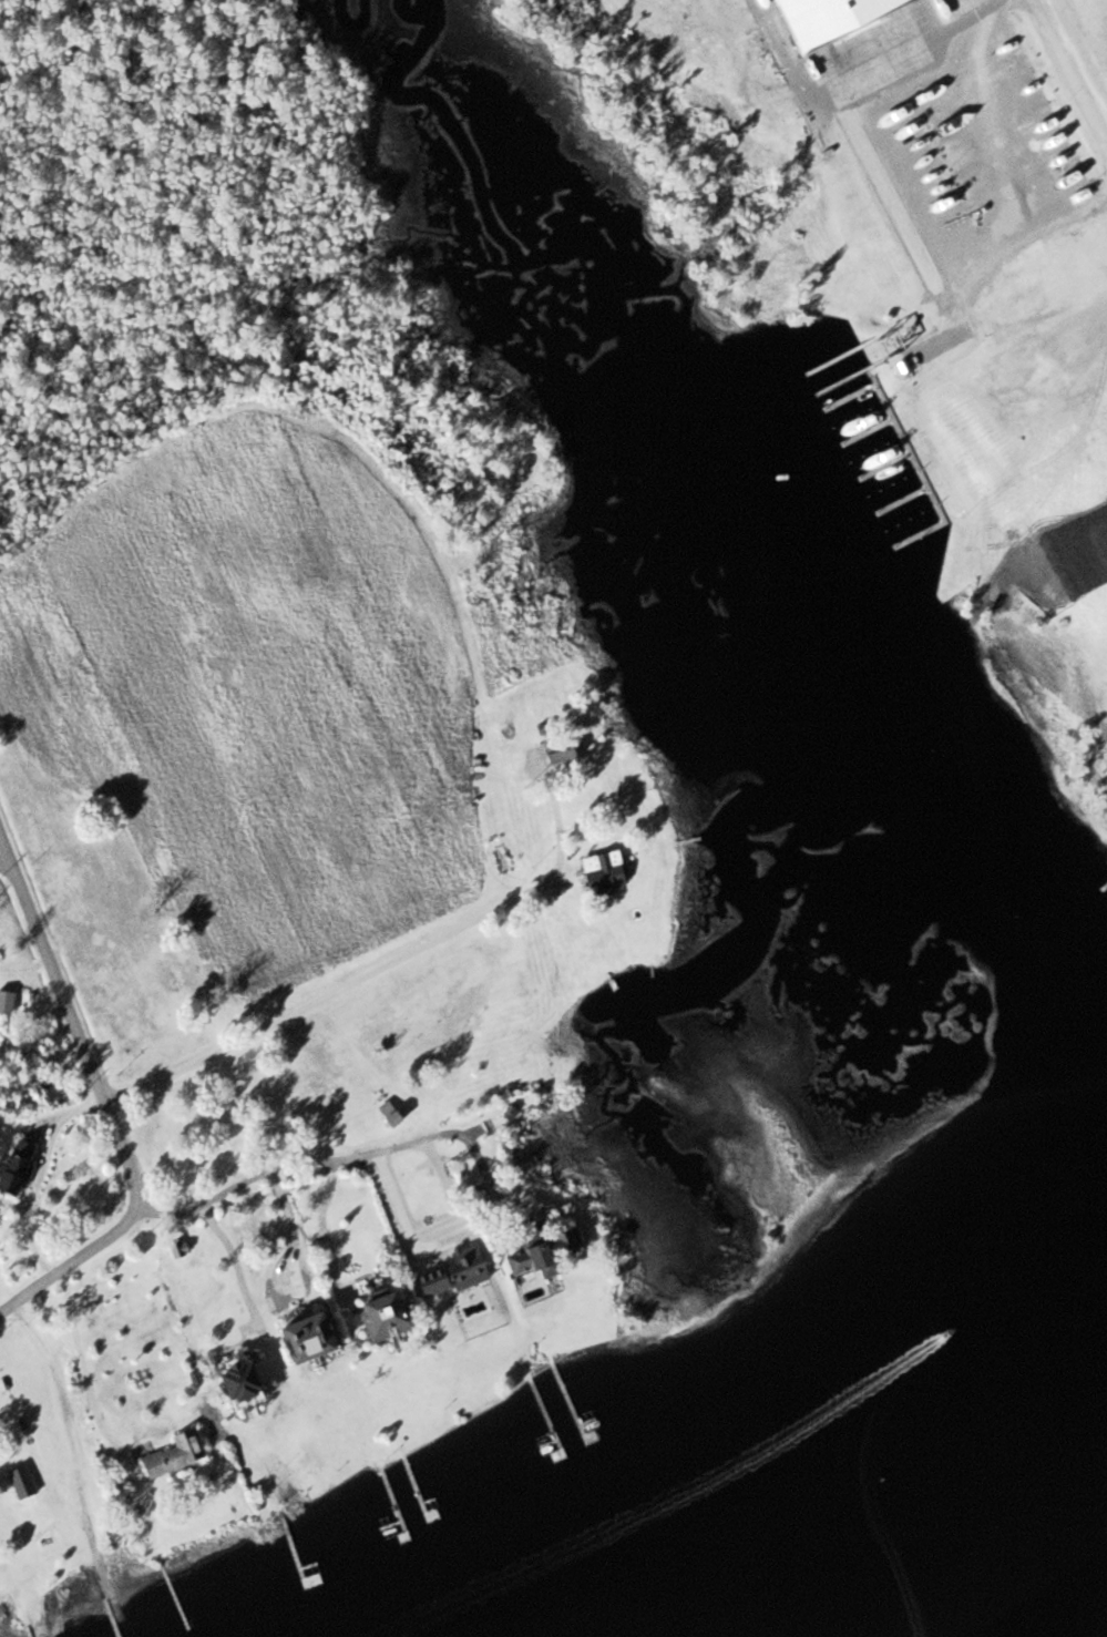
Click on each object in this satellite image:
building: (822, 19)
road: (933, 57)
road: (1067, 76)
road: (1085, 336)
building: (1015, 395)
road: (4, 860)
building: (598, 870)
building: (4, 1002)
road: (76, 1023)
road: (299, 1157)
building: (12, 1167)
building: (173, 1247)
building: (536, 1252)
building: (460, 1266)
road: (72, 1267)
building: (379, 1314)
building: (300, 1334)
building: (227, 1380)
building: (168, 1454)
building: (17, 1481)

